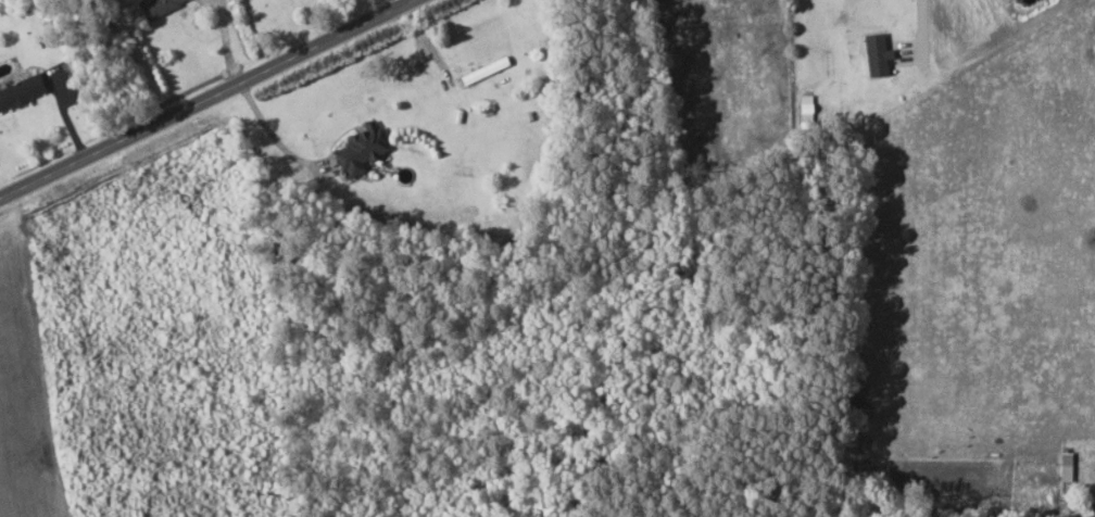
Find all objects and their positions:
building: (160, 5)
road: (917, 20)
building: (872, 54)
building: (23, 90)
road: (203, 98)
road: (264, 125)
building: (364, 149)
building: (1061, 466)

